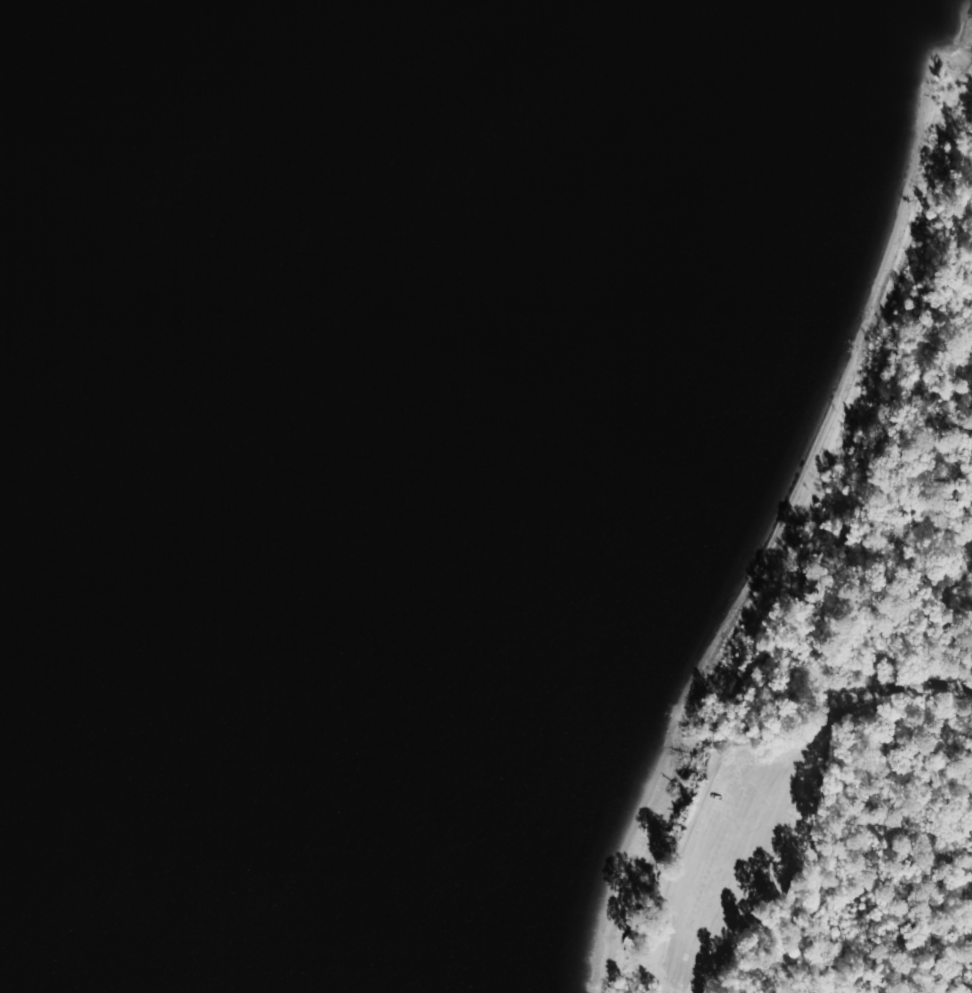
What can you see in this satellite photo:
road: (950, 688)
road: (779, 799)

